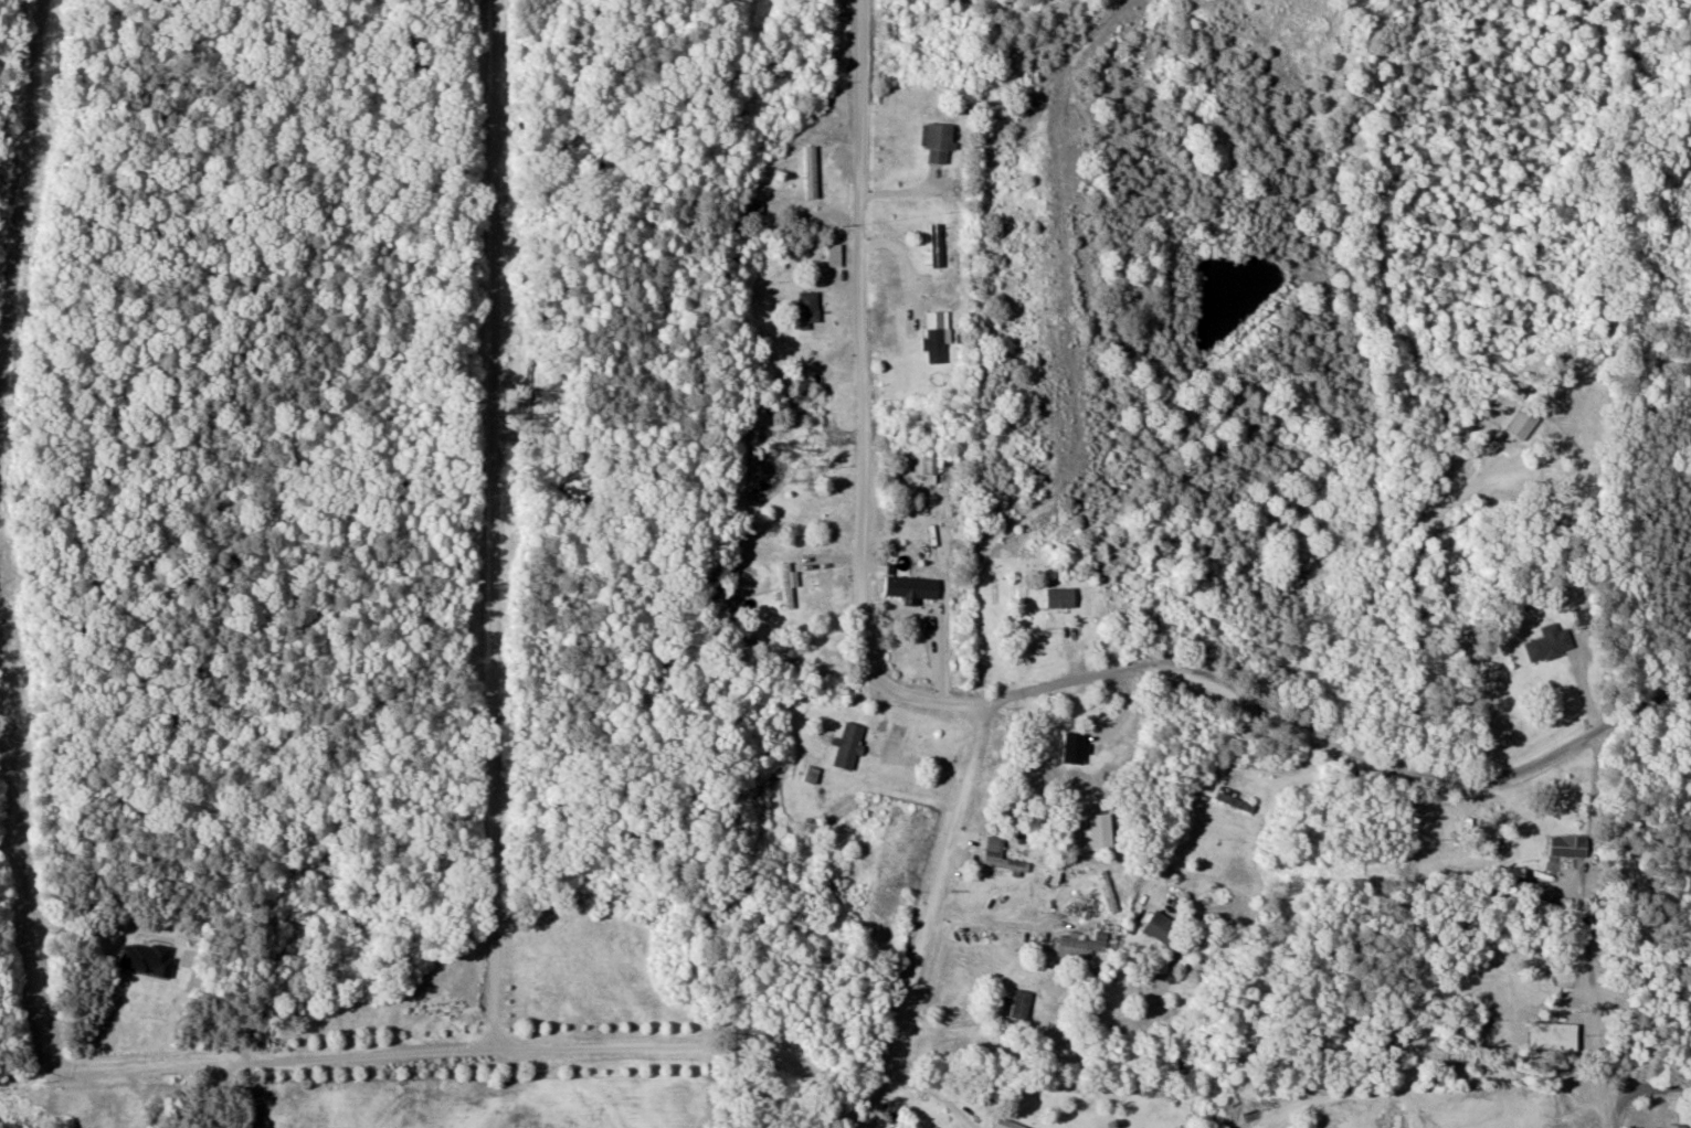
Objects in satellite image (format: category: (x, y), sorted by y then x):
building: (938, 141)
building: (812, 172)
building: (810, 308)
building: (936, 345)
road: (862, 396)
building: (931, 464)
building: (1499, 478)
building: (789, 585)
building: (1060, 632)
building: (1551, 643)
building: (849, 746)
building: (1076, 747)
road: (1339, 747)
building: (813, 768)
building: (1235, 801)
building: (993, 845)
road: (945, 847)
building: (1570, 847)
building: (1006, 864)
building: (1101, 866)
road: (1603, 928)
building: (1164, 929)
building: (1082, 947)
building: (1022, 1005)
road: (887, 1057)
road: (1646, 1086)
building: (1685, 1118)
building: (1006, 1125)
building: (1676, 1126)

